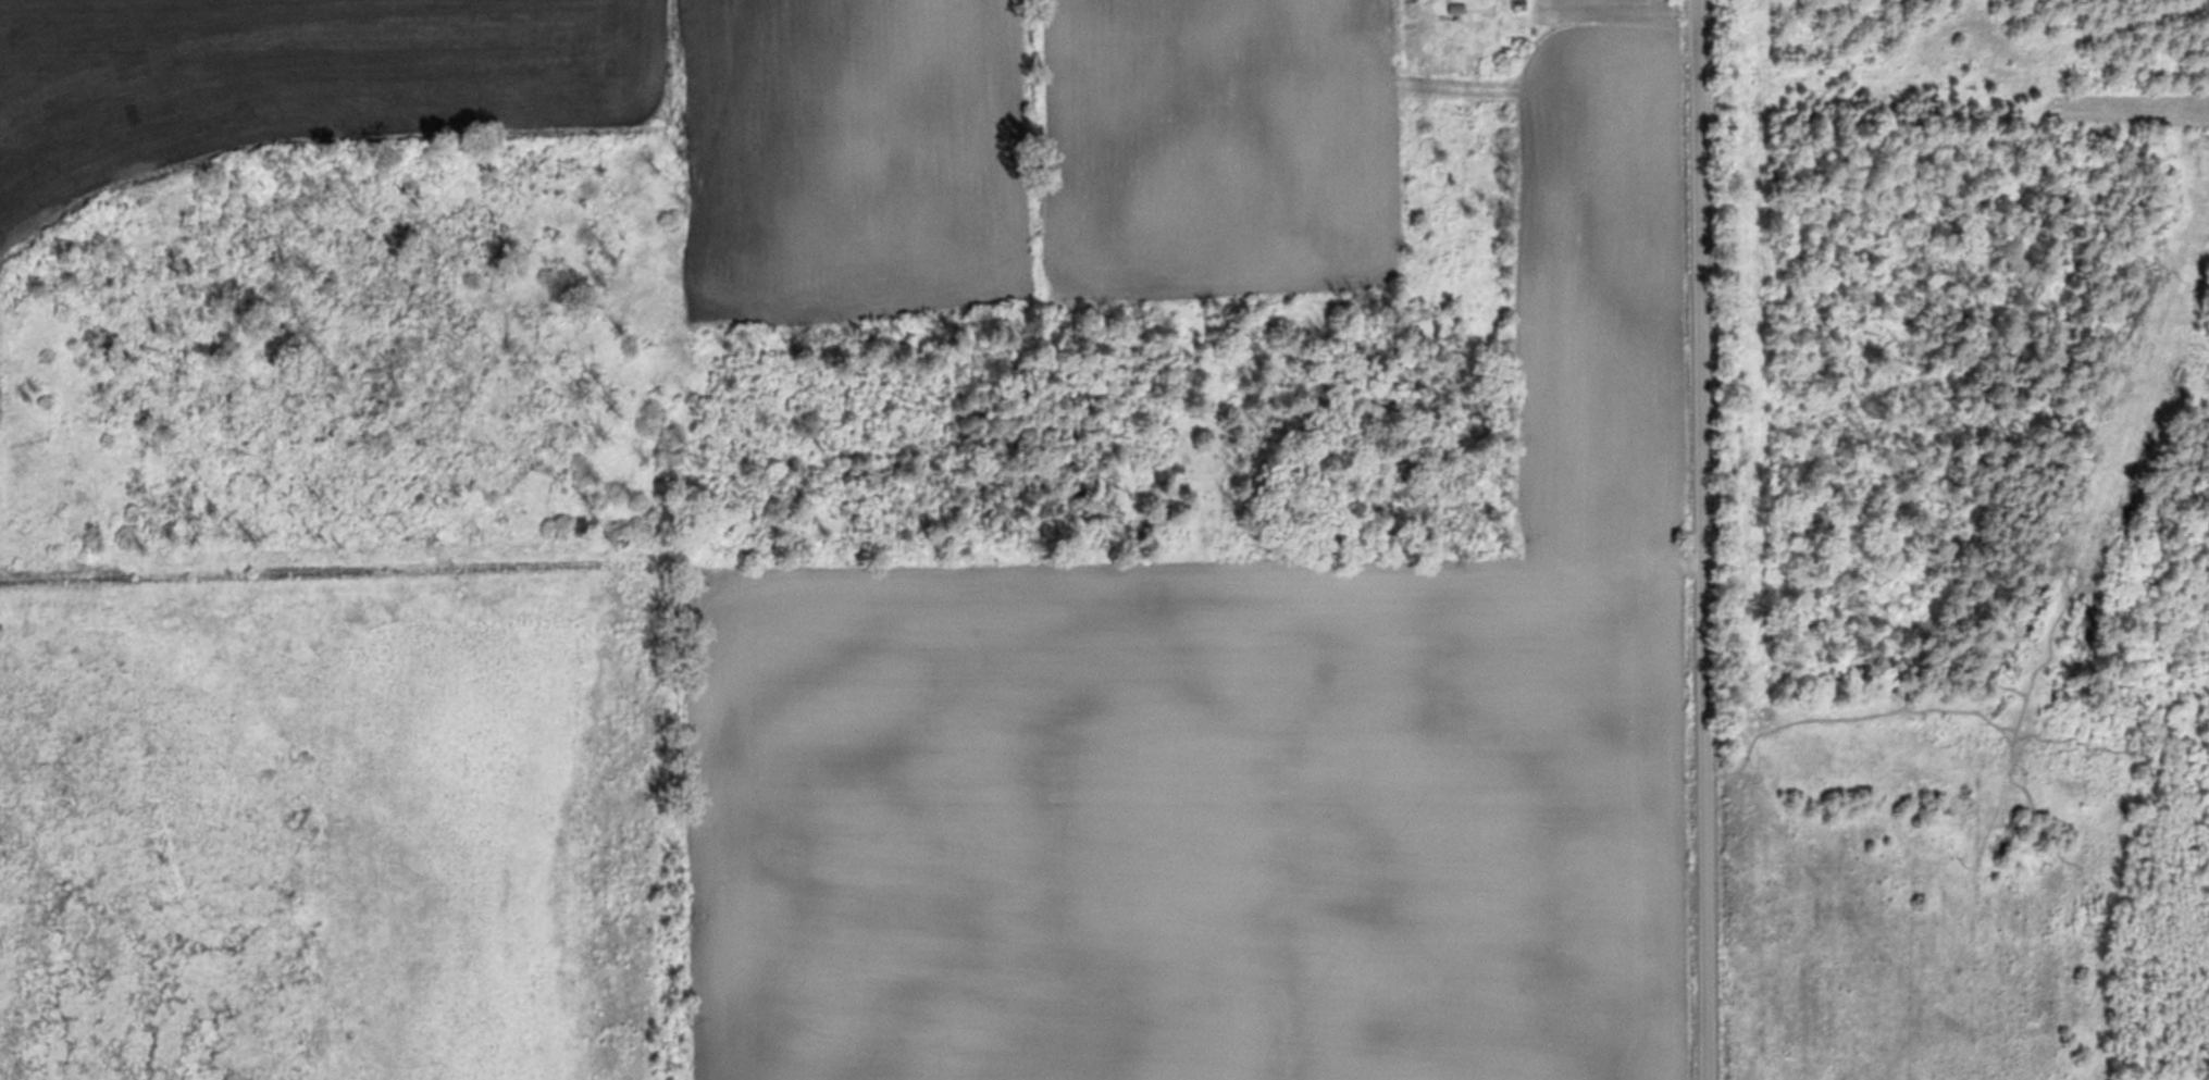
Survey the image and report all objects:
road: (1702, 539)

